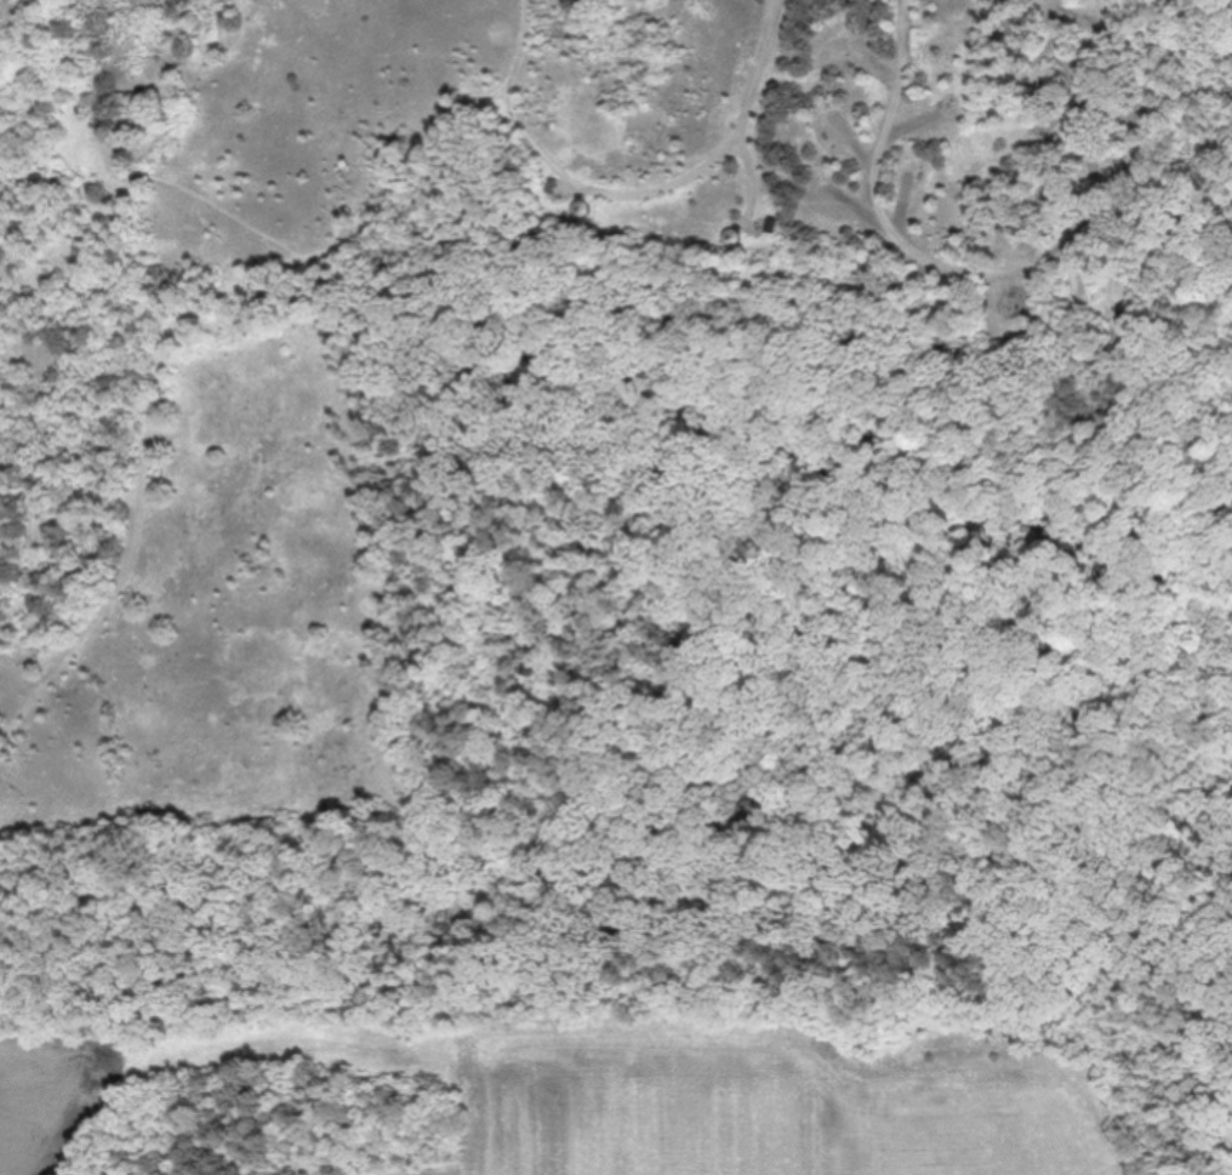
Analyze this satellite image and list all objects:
building: (854, 50)
building: (837, 105)
road: (728, 142)
road: (996, 268)
road: (187, 307)
park: (615, 515)
road: (622, 965)

